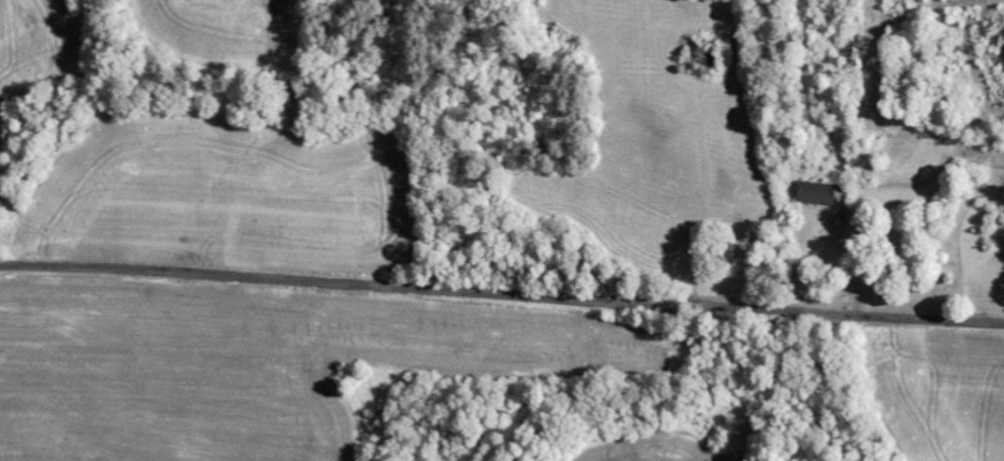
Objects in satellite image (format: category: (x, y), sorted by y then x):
building: (819, 194)
road: (501, 295)

